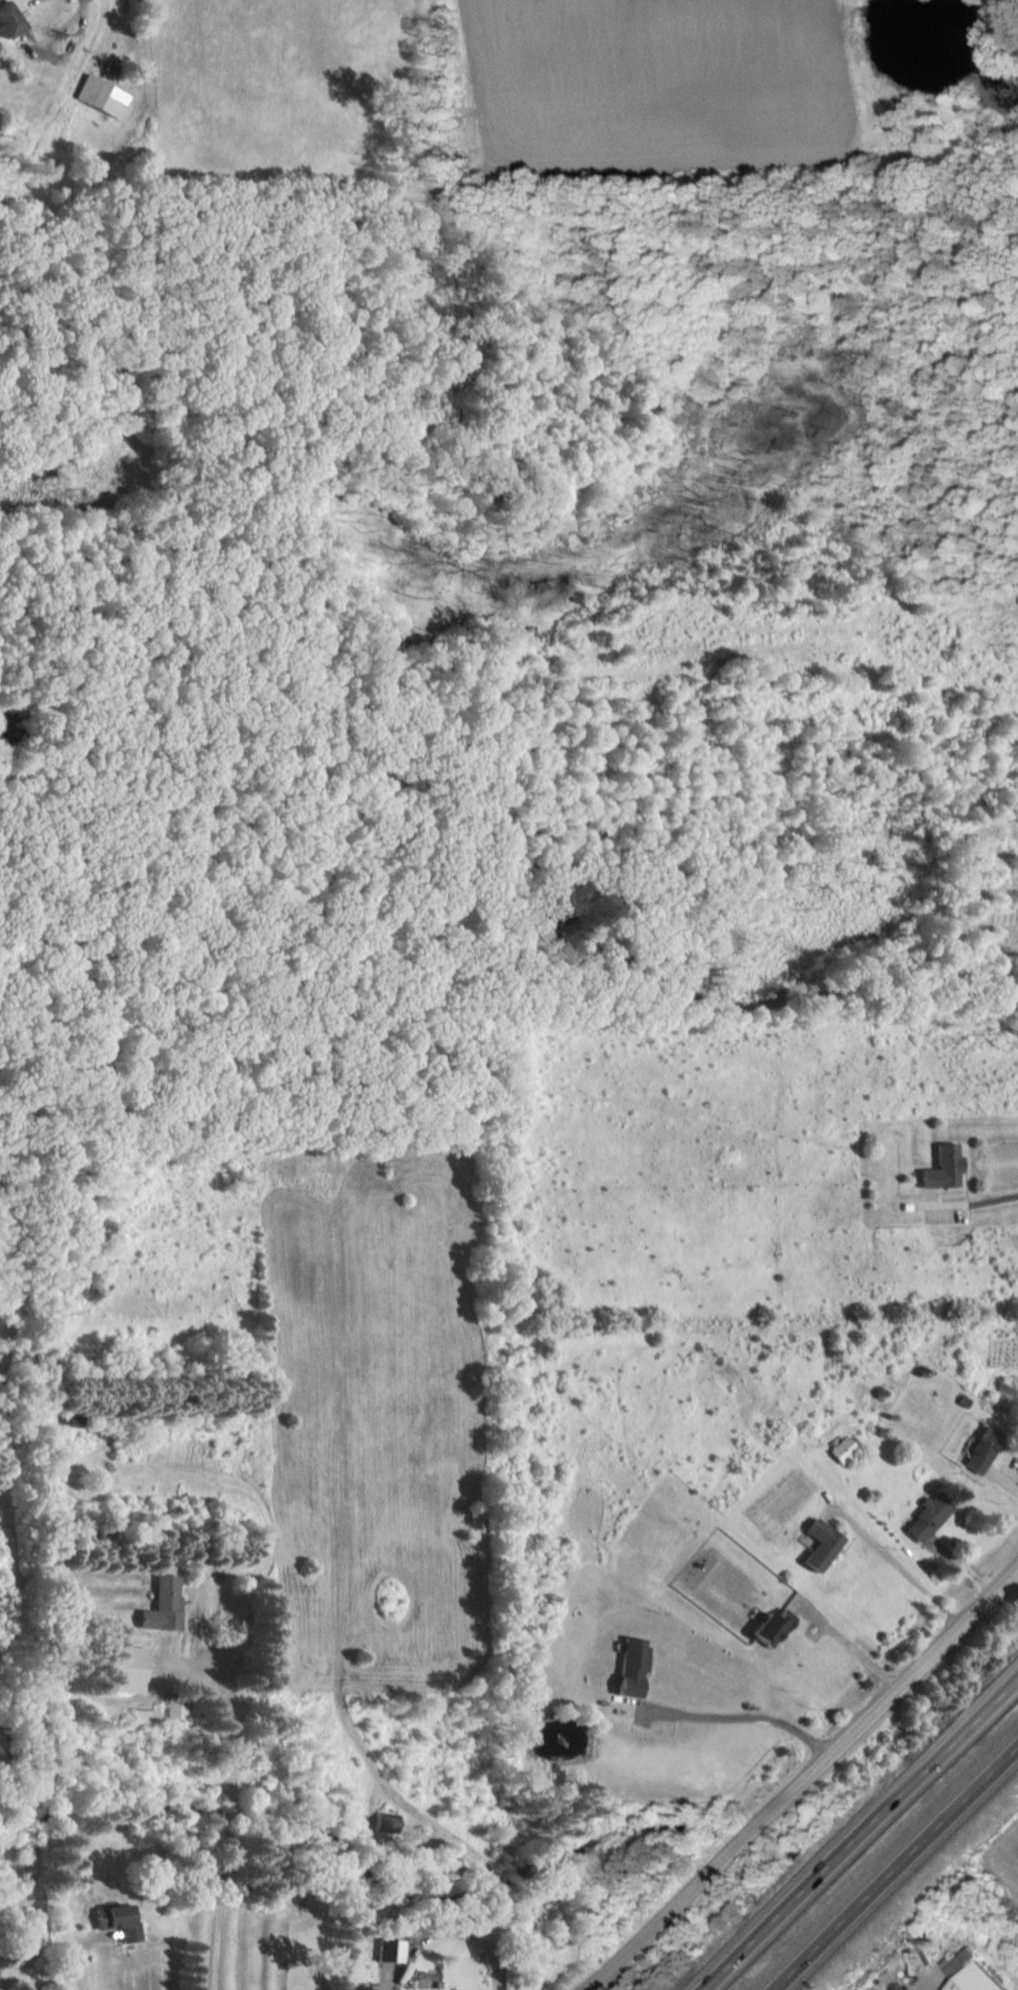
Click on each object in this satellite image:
building: (9, 19)
building: (104, 96)
building: (942, 1168)
road: (975, 1196)
building: (73, 1421)
building: (841, 1449)
building: (980, 1450)
building: (927, 1517)
building: (819, 1544)
road: (902, 1570)
building: (166, 1592)
building: (769, 1626)
road: (860, 1644)
building: (630, 1666)
building: (121, 1672)
road: (746, 1712)
building: (138, 1721)
road: (810, 1786)
road: (229, 1819)
road: (867, 1839)
road: (903, 1875)
building: (117, 1920)
road: (450, 1930)
building: (17, 1947)
building: (388, 1949)
road: (82, 1964)
building: (970, 1974)
building: (363, 1989)

